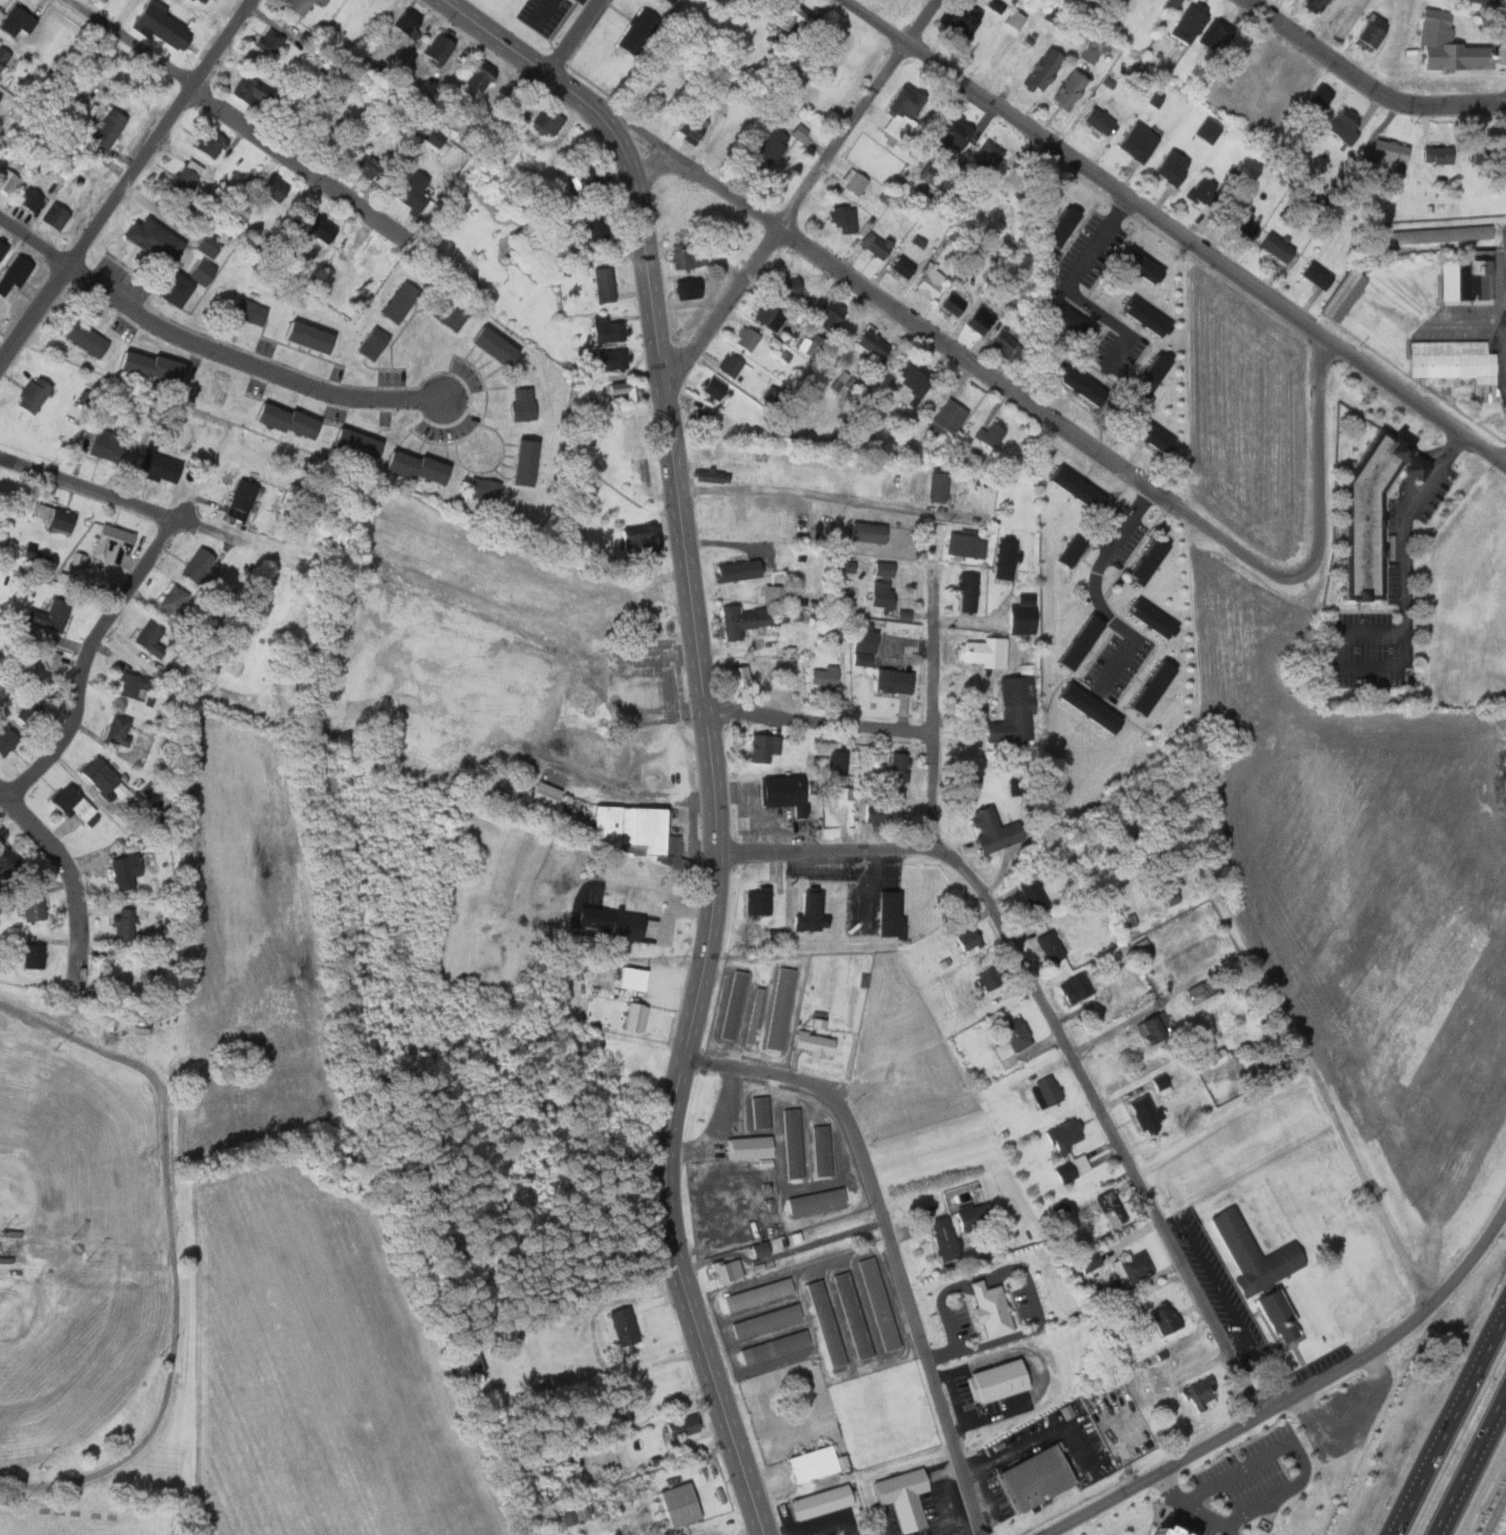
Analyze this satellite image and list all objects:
building: (196, 1)
building: (204, 1)
building: (664, 1)
building: (672, 1)
building: (1478, 1)
building: (1173, 4)
building: (1316, 4)
building: (998, 5)
building: (300, 6)
building: (793, 16)
building: (965, 19)
building: (1016, 19)
building: (17, 21)
building: (1191, 21)
building: (407, 25)
building: (163, 26)
building: (1373, 30)
building: (640, 31)
building: (1217, 34)
road: (571, 35)
building: (270, 42)
building: (1450, 44)
building: (438, 49)
building: (1088, 52)
building: (3, 57)
road: (546, 70)
building: (1046, 70)
building: (792, 78)
building: (476, 81)
road: (1369, 84)
building: (1072, 89)
building: (252, 92)
building: (0, 95)
building: (1318, 101)
building: (898, 111)
road: (236, 116)
building: (548, 120)
building: (1102, 120)
building: (689, 127)
building: (108, 128)
building: (1345, 128)
building: (1207, 130)
building: (797, 131)
building: (947, 135)
building: (429, 136)
building: (1140, 142)
building: (214, 144)
building: (769, 146)
building: (984, 154)
building: (1390, 154)
building: (1484, 154)
building: (1439, 155)
building: (367, 165)
building: (1174, 167)
building: (187, 176)
building: (587, 178)
building: (7, 180)
road: (126, 181)
building: (852, 182)
building: (274, 188)
building: (1206, 191)
road: (802, 192)
building: (30, 199)
building: (413, 199)
building: (56, 215)
building: (841, 217)
building: (1237, 220)
building: (1071, 224)
building: (1056, 225)
building: (598, 228)
building: (322, 230)
road: (1175, 232)
building: (155, 240)
building: (725, 241)
building: (873, 244)
building: (209, 245)
building: (1279, 247)
building: (3, 248)
building: (686, 258)
building: (899, 265)
building: (1149, 265)
road: (1094, 266)
building: (203, 272)
building: (14, 273)
building: (1318, 276)
building: (1462, 278)
building: (926, 281)
building: (605, 284)
building: (788, 286)
building: (175, 288)
building: (689, 289)
building: (1345, 295)
building: (400, 302)
building: (950, 303)
building: (251, 312)
building: (831, 315)
building: (449, 316)
building: (770, 316)
building: (1140, 317)
building: (1155, 317)
building: (977, 318)
building: (1080, 321)
building: (1066, 322)
road: (918, 323)
building: (610, 330)
building: (312, 337)
building: (747, 338)
building: (88, 339)
building: (998, 341)
road: (1141, 341)
building: (874, 343)
building: (374, 344)
building: (812, 345)
parking lot: (1129, 346)
building: (498, 347)
road: (205, 348)
building: (613, 359)
building: (1458, 363)
building: (730, 364)
building: (154, 366)
building: (1157, 374)
building: (915, 375)
building: (1144, 377)
building: (837, 380)
building: (1086, 383)
building: (714, 388)
building: (627, 390)
building: (34, 394)
building: (772, 395)
building: (524, 404)
building: (947, 418)
building: (705, 420)
building: (290, 421)
building: (1158, 430)
building: (1143, 433)
building: (992, 434)
building: (108, 444)
building: (360, 445)
road: (1457, 445)
building: (704, 448)
building: (528, 462)
building: (161, 467)
building: (421, 467)
road: (1420, 467)
building: (711, 475)
building: (1087, 483)
road: (89, 487)
building: (940, 487)
building: (1070, 487)
building: (485, 488)
parking lot: (1446, 491)
building: (243, 496)
road: (835, 500)
road: (1401, 504)
building: (1374, 507)
building: (57, 518)
road: (1324, 527)
building: (869, 532)
parking lot: (1134, 533)
road: (1386, 536)
building: (640, 539)
building: (967, 544)
building: (117, 545)
building: (1083, 548)
building: (1069, 550)
parking lot: (1400, 554)
building: (1007, 559)
building: (1158, 559)
building: (1141, 561)
building: (764, 564)
road: (1112, 564)
building: (846, 566)
building: (200, 568)
building: (885, 569)
building: (740, 570)
building: (969, 592)
building: (883, 594)
building: (173, 599)
road: (1408, 600)
road: (1369, 610)
building: (1023, 614)
building: (52, 615)
building: (1160, 618)
building: (1147, 619)
building: (743, 620)
building: (150, 638)
building: (1090, 641)
building: (1074, 642)
building: (865, 645)
parking lot: (1373, 650)
building: (982, 651)
parking lot: (1130, 657)
road: (1129, 660)
road: (85, 662)
building: (47, 667)
building: (742, 675)
building: (824, 677)
building: (895, 680)
building: (132, 684)
building: (1160, 685)
building: (1146, 687)
building: (1097, 705)
building: (1084, 708)
building: (1015, 712)
building: (32, 714)
road: (933, 714)
road: (818, 721)
building: (122, 731)
building: (6, 738)
building: (766, 747)
building: (838, 762)
building: (900, 766)
building: (103, 777)
building: (785, 793)
building: (843, 793)
building: (895, 796)
road: (2, 797)
building: (540, 798)
building: (75, 805)
building: (875, 809)
building: (635, 830)
building: (995, 830)
road: (718, 849)
road: (828, 852)
building: (6, 857)
road: (1211, 869)
building: (125, 870)
road: (72, 874)
building: (1165, 890)
building: (1034, 894)
building: (759, 902)
building: (34, 907)
building: (812, 910)
building: (892, 914)
building: (124, 924)
building: (621, 925)
building: (778, 936)
building: (968, 939)
building: (1143, 945)
building: (1052, 947)
building: (34, 955)
building: (629, 978)
building: (989, 978)
building: (1076, 989)
building: (1198, 993)
building: (732, 1004)
building: (781, 1009)
building: (755, 1015)
building: (632, 1017)
building: (1155, 1030)
building: (1018, 1034)
building: (816, 1044)
building: (1163, 1084)
building: (1047, 1092)
building: (761, 1113)
building: (1146, 1116)
road: (1111, 1124)
road: (1343, 1130)
park: (72, 1143)
building: (794, 1143)
building: (752, 1148)
building: (823, 1151)
building: (1069, 1151)
building: (817, 1201)
building: (1112, 1209)
building: (977, 1216)
road: (891, 1238)
building: (947, 1240)
road: (184, 1250)
building: (762, 1250)
building: (1258, 1252)
park: (102, 1258)
building: (1090, 1261)
building: (1138, 1266)
building: (728, 1270)
building: (756, 1294)
building: (877, 1304)
building: (994, 1308)
building: (851, 1315)
building: (1283, 1315)
building: (1168, 1318)
building: (765, 1320)
building: (824, 1323)
building: (621, 1326)
building: (772, 1346)
building: (804, 1350)
park: (75, 1352)
building: (469, 1358)
park: (71, 1363)
building: (1001, 1380)
building: (1205, 1394)
road: (1295, 1397)
road: (1447, 1421)
building: (680, 1427)
building: (813, 1463)
road: (1470, 1464)
building: (1038, 1477)
road: (0, 1482)
building: (900, 1497)
building: (817, 1502)
building: (675, 1505)
road: (1193, 1508)
building: (572, 1514)
park: (86, 1524)
road: (882, 1524)
road: (967, 1530)
building: (1148, 1531)

